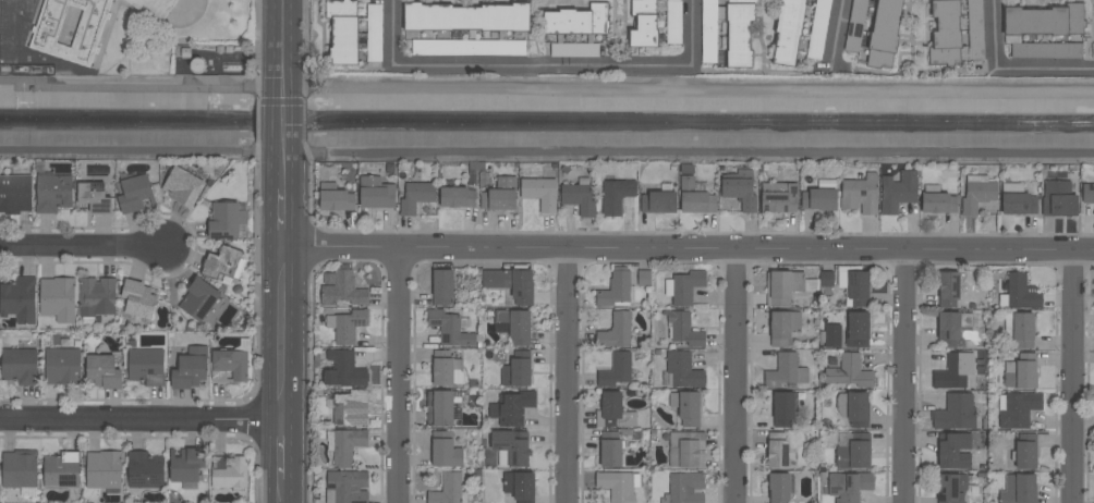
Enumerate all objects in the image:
building: (154, 8)
building: (465, 17)
building: (576, 21)
building: (1044, 21)
building: (673, 22)
parking lot: (0, 24)
building: (643, 24)
building: (854, 25)
building: (818, 28)
building: (788, 29)
road: (838, 29)
building: (342, 32)
building: (709, 32)
building: (739, 32)
building: (374, 33)
building: (944, 33)
building: (883, 34)
building: (86, 37)
road: (283, 42)
building: (469, 47)
building: (574, 50)
building: (1046, 50)
building: (1093, 52)
road: (544, 64)
road: (1011, 66)
road: (546, 86)
road: (283, 114)
building: (183, 186)
building: (898, 191)
building: (539, 192)
building: (15, 193)
building: (52, 193)
building: (376, 193)
building: (739, 193)
building: (135, 194)
building: (1087, 194)
building: (500, 195)
building: (859, 195)
building: (415, 196)
building: (616, 196)
building: (977, 196)
building: (94, 197)
building: (578, 197)
building: (335, 198)
building: (457, 198)
building: (695, 198)
building: (780, 199)
building: (818, 199)
building: (1058, 199)
building: (658, 203)
building: (938, 203)
building: (1019, 204)
building: (223, 220)
road: (80, 245)
road: (691, 248)
building: (220, 262)
building: (644, 278)
building: (826, 279)
building: (510, 282)
building: (803, 283)
building: (442, 286)
building: (686, 286)
building: (780, 289)
building: (858, 289)
building: (948, 289)
building: (615, 290)
building: (343, 291)
building: (1021, 293)
building: (96, 296)
building: (58, 298)
building: (19, 299)
building: (198, 299)
building: (137, 300)
road: (288, 323)
building: (350, 326)
building: (515, 326)
building: (783, 327)
building: (449, 329)
building: (684, 329)
building: (948, 329)
building: (856, 330)
building: (1023, 330)
building: (616, 331)
building: (230, 364)
building: (19, 366)
building: (63, 366)
building: (145, 366)
building: (190, 368)
building: (442, 368)
building: (344, 370)
building: (617, 370)
building: (682, 370)
building: (782, 370)
building: (102, 371)
building: (955, 371)
building: (515, 372)
building: (849, 372)
building: (1022, 375)
road: (398, 376)
road: (567, 376)
road: (734, 376)
road: (1071, 376)
road: (903, 377)
building: (350, 408)
building: (442, 408)
building: (511, 408)
building: (689, 408)
building: (856, 408)
building: (782, 409)
building: (1019, 409)
building: (615, 412)
building: (955, 413)
road: (143, 419)
building: (347, 445)
building: (511, 447)
building: (445, 450)
building: (609, 450)
building: (777, 450)
building: (688, 451)
building: (953, 451)
building: (853, 455)
building: (1025, 455)
building: (186, 465)
building: (19, 468)
building: (61, 469)
building: (104, 469)
building: (144, 471)
building: (231, 474)
building: (348, 486)
building: (519, 486)
building: (617, 486)
building: (849, 486)
building: (685, 488)
building: (778, 488)
building: (950, 488)
building: (447, 489)
building: (1018, 489)

